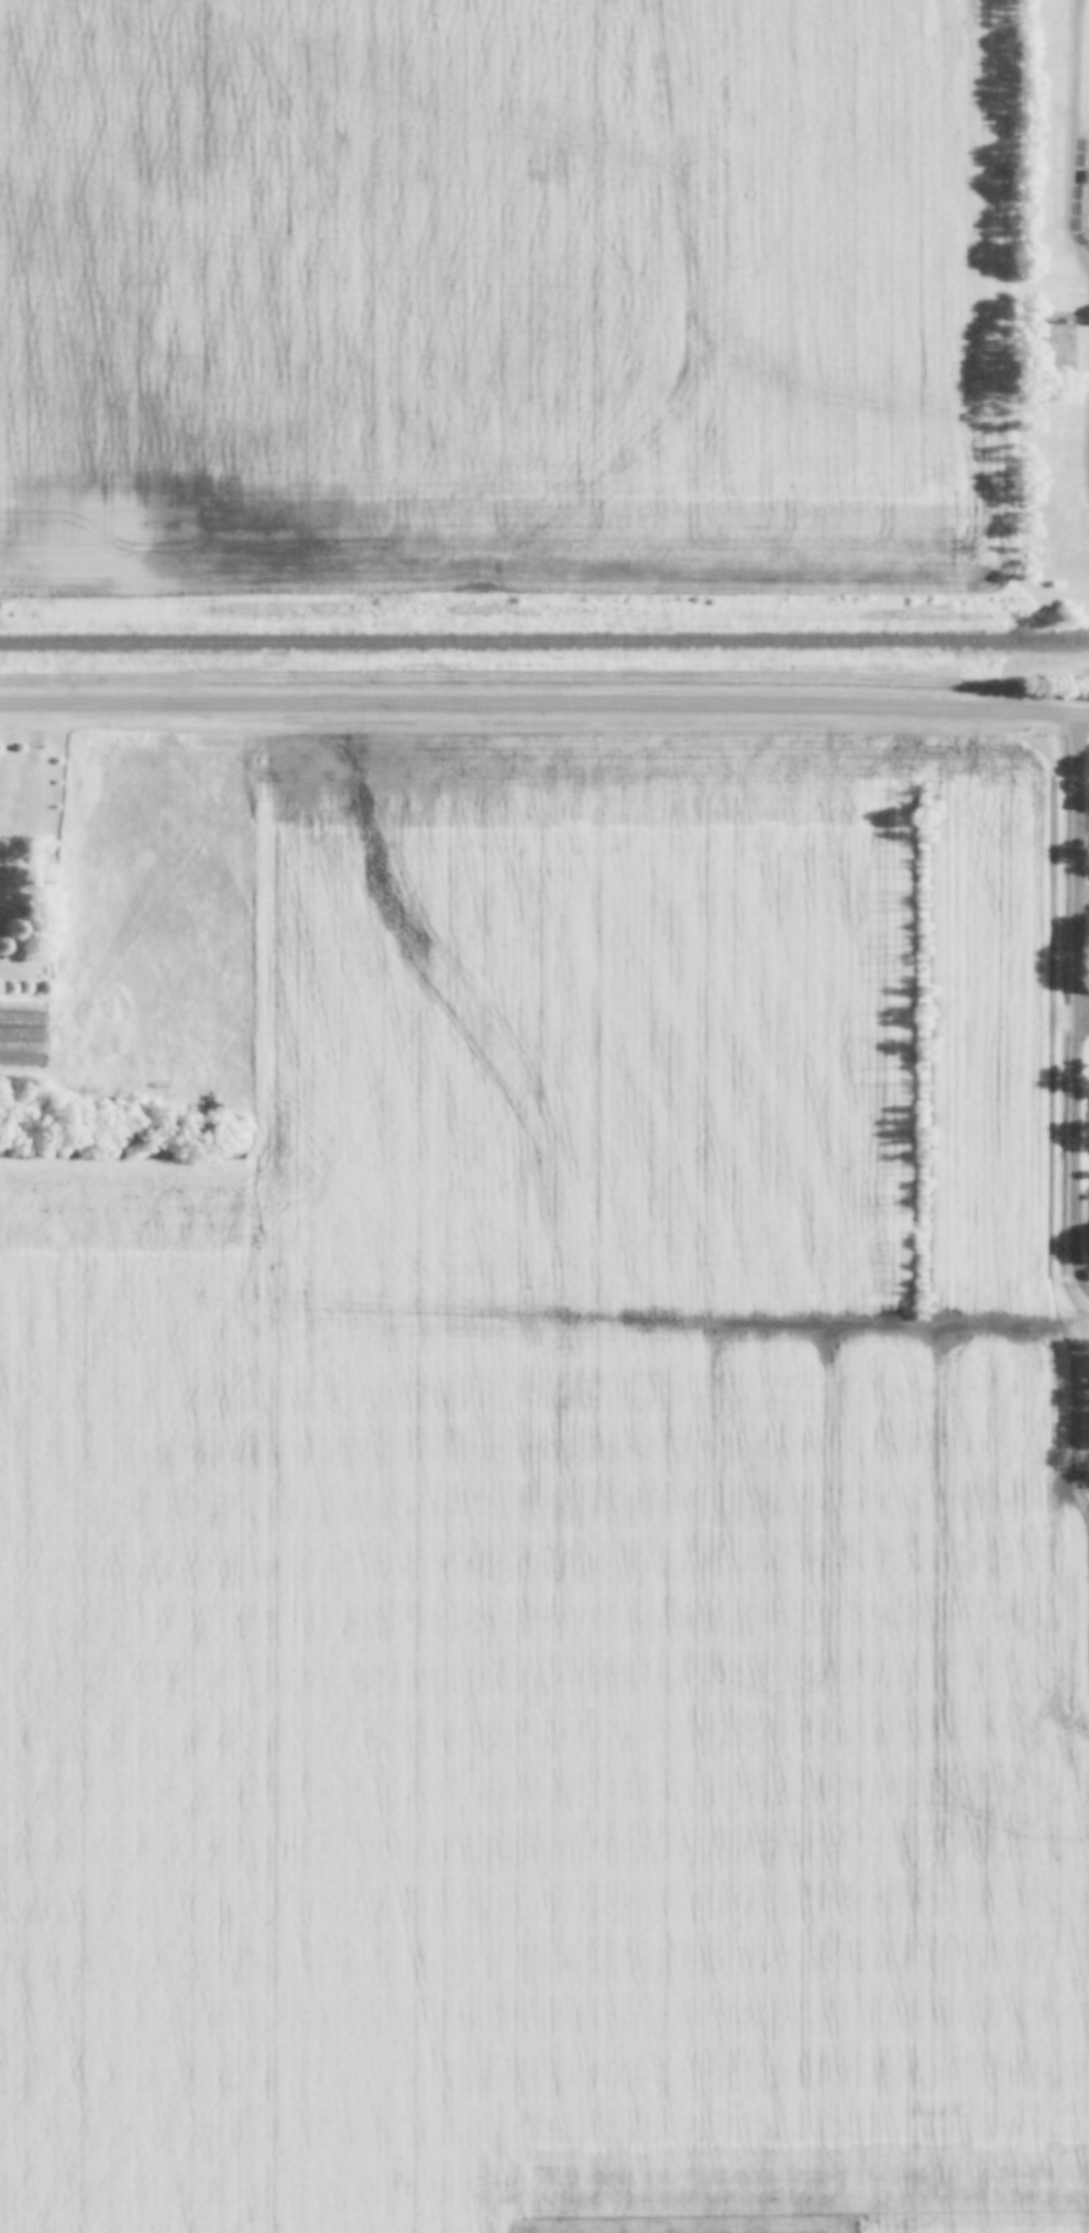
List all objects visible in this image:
road: (1070, 142)
park: (1088, 210)
building: (1054, 268)
park: (1053, 346)
road: (1088, 455)
road: (1088, 480)
railway: (1055, 639)
railway: (544, 642)
road: (24, 705)
road: (568, 710)
road: (1088, 718)
road: (1082, 1003)
road: (1086, 1019)

